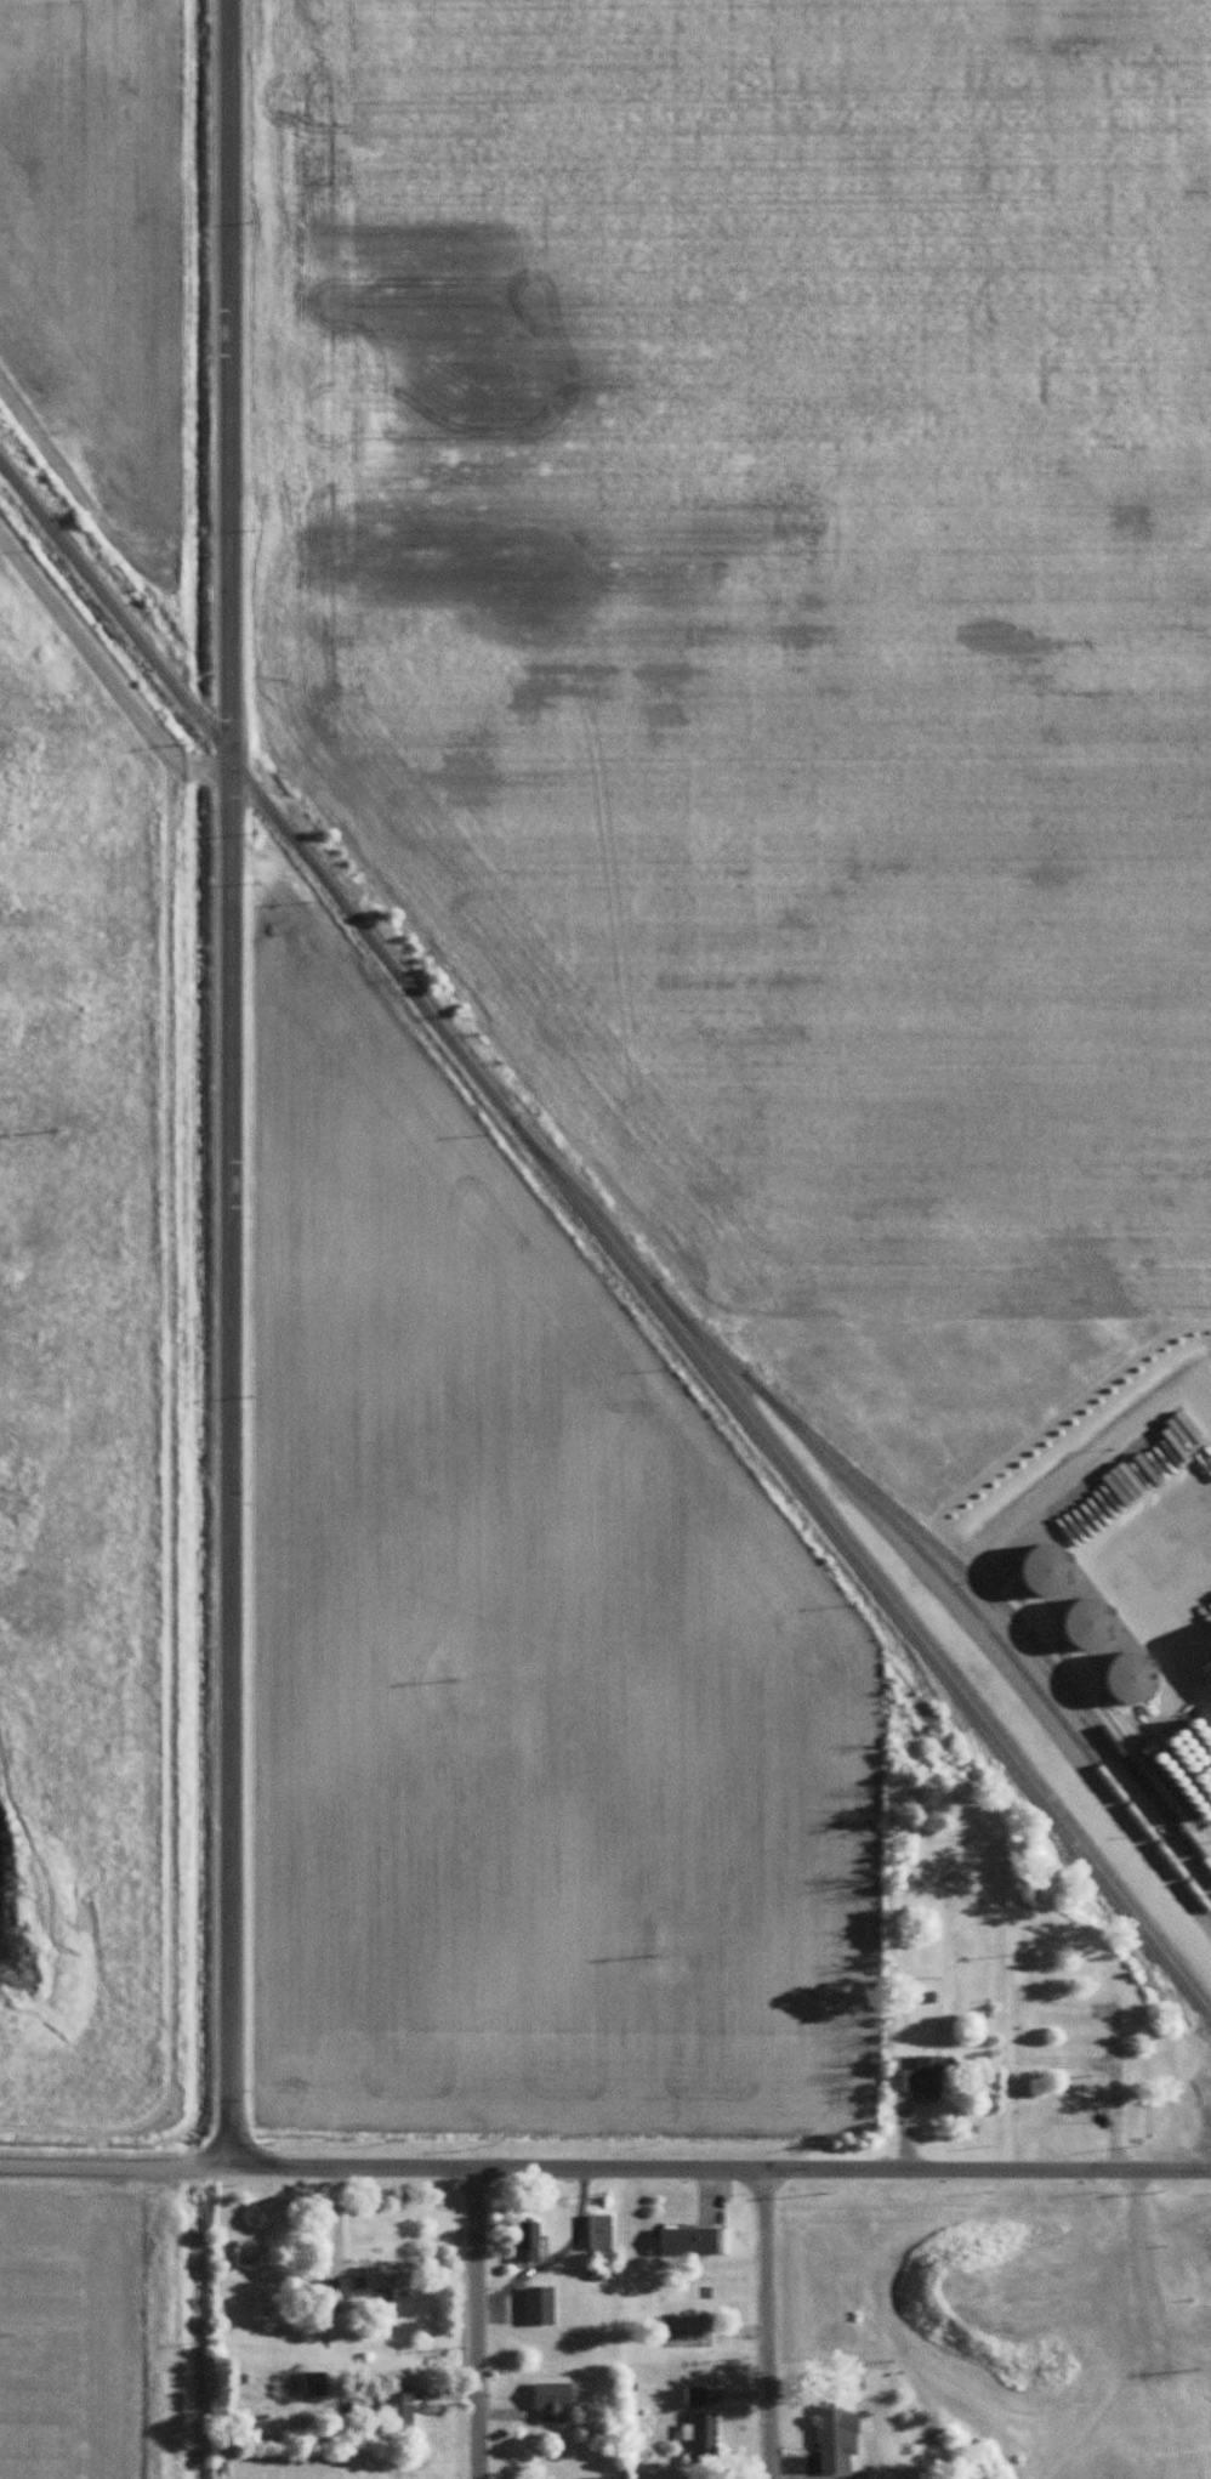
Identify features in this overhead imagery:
road: (224, 378)
railway: (605, 1243)
road: (228, 1462)
railway: (953, 1558)
railway: (871, 1560)
building: (919, 2074)
building: (1186, 2104)
road: (115, 2166)
road: (720, 2172)
building: (601, 2234)
building: (1205, 2239)
building: (529, 2241)
building: (695, 2242)
building: (368, 2284)
building: (540, 2307)
road: (476, 2325)
road: (767, 2326)
building: (317, 2384)
building: (697, 2398)
building: (400, 2410)
building: (534, 2435)
building: (705, 2438)
building: (832, 2439)

